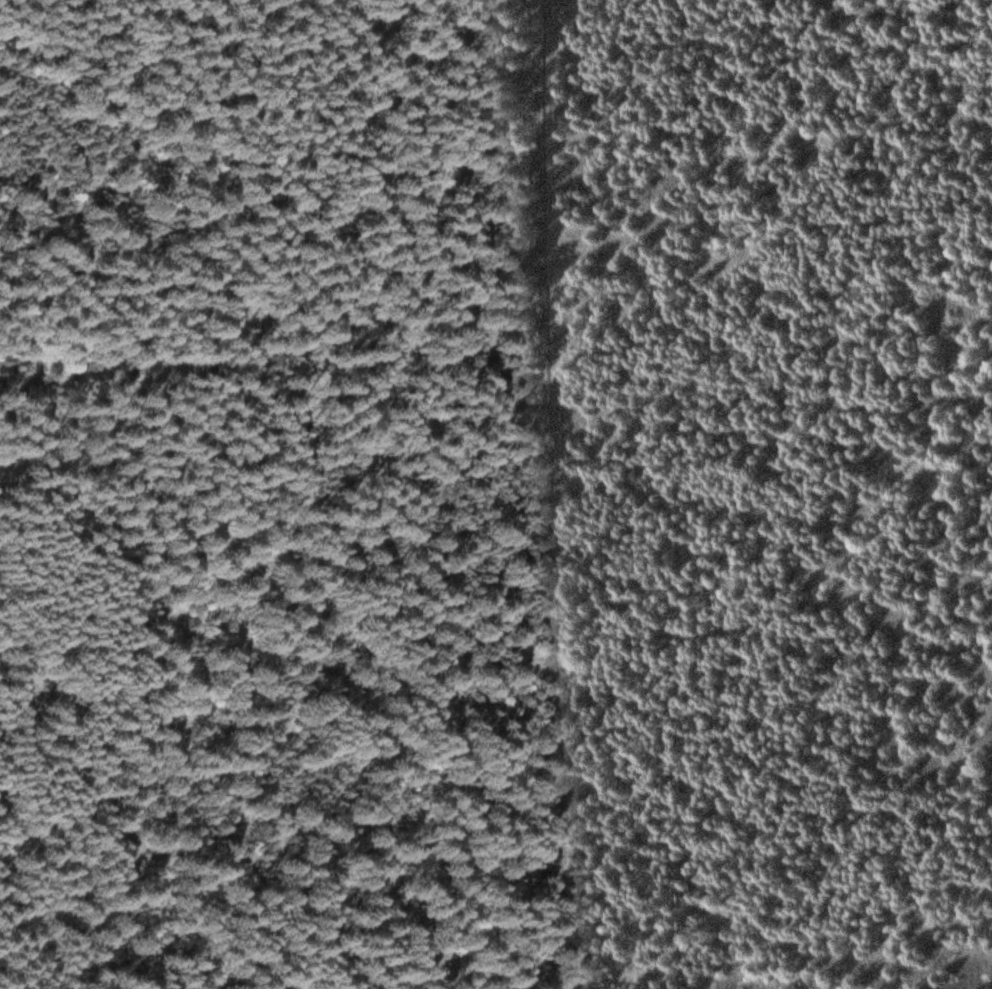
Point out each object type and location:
road: (558, 494)

